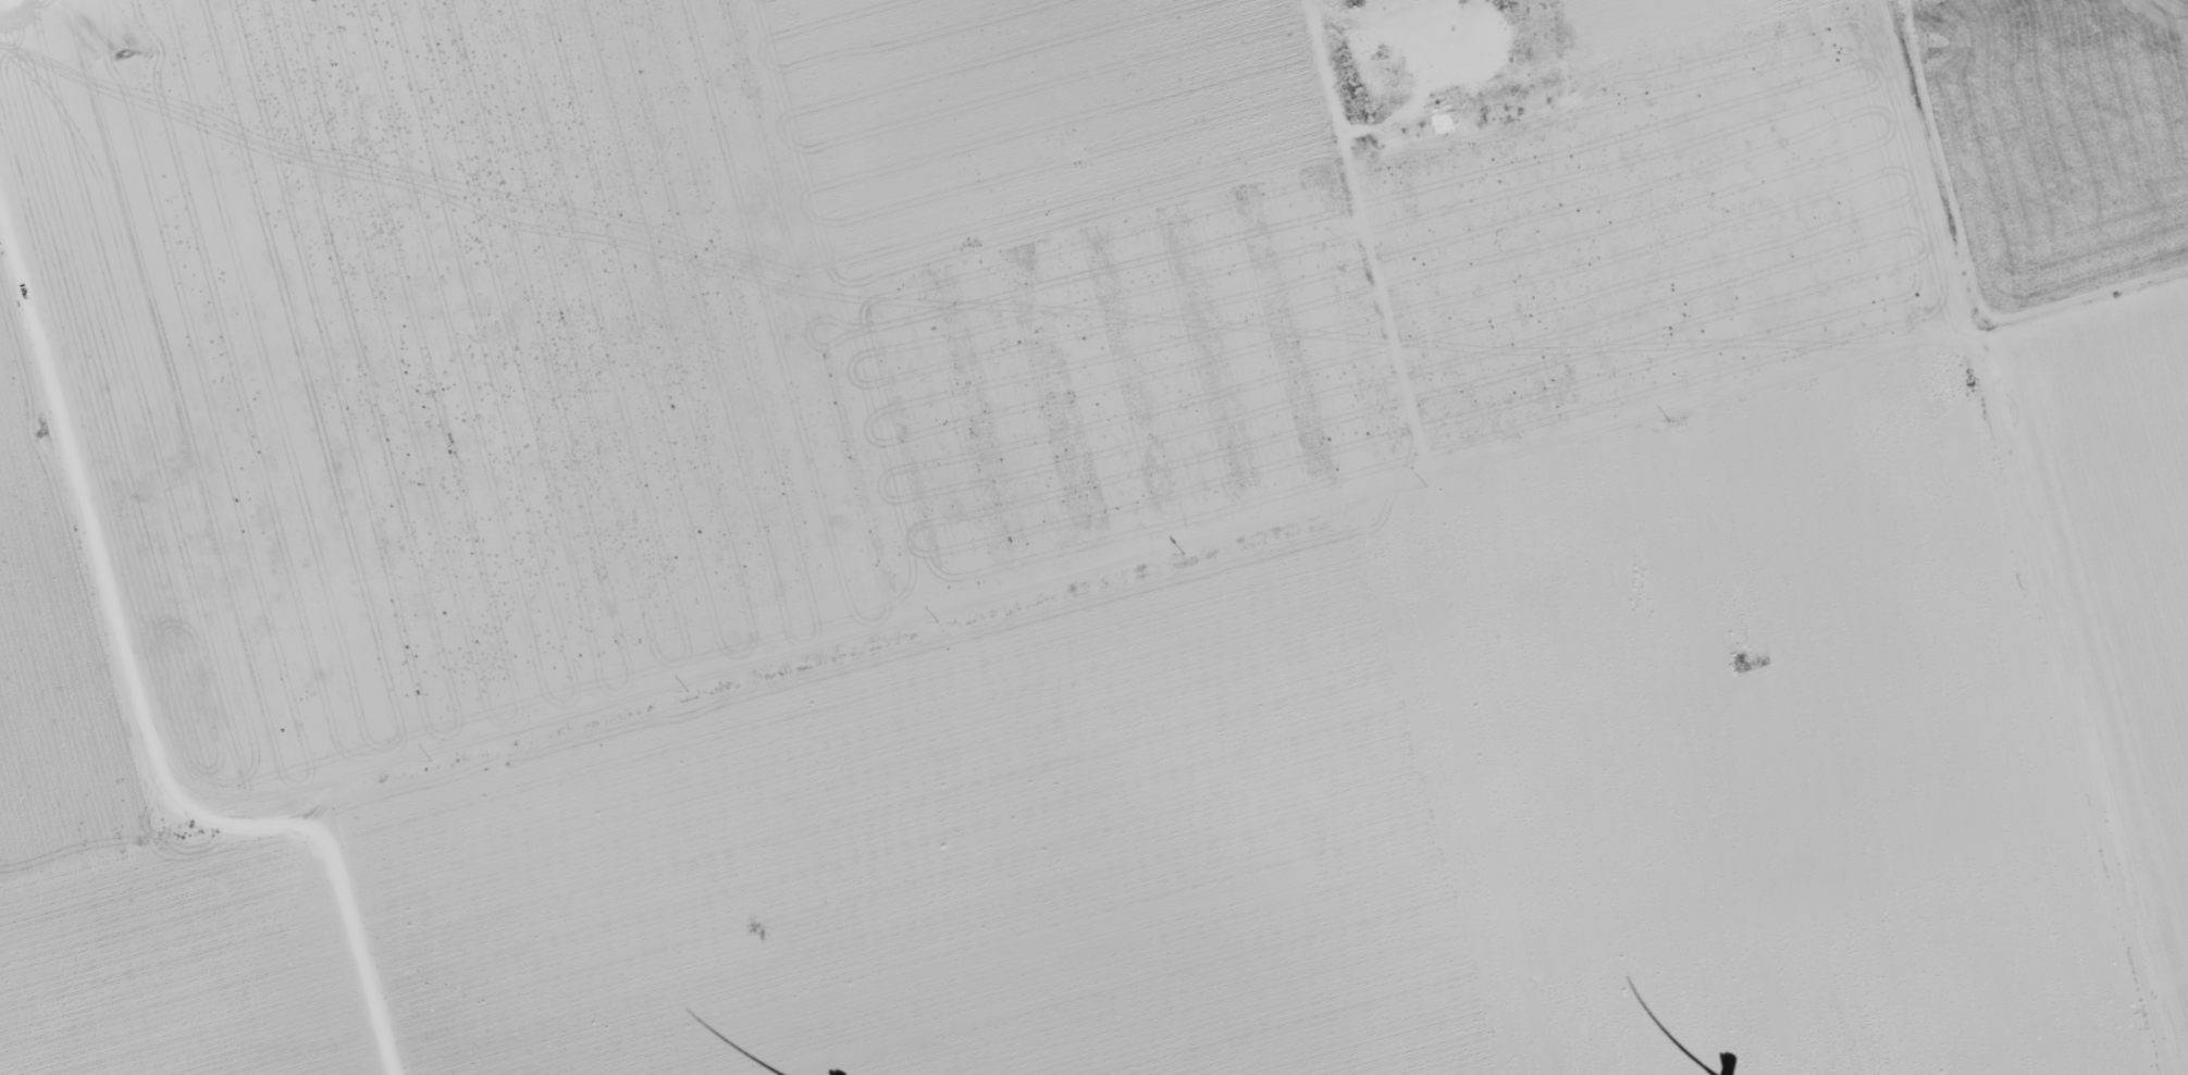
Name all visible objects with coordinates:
road: (240, 200)

